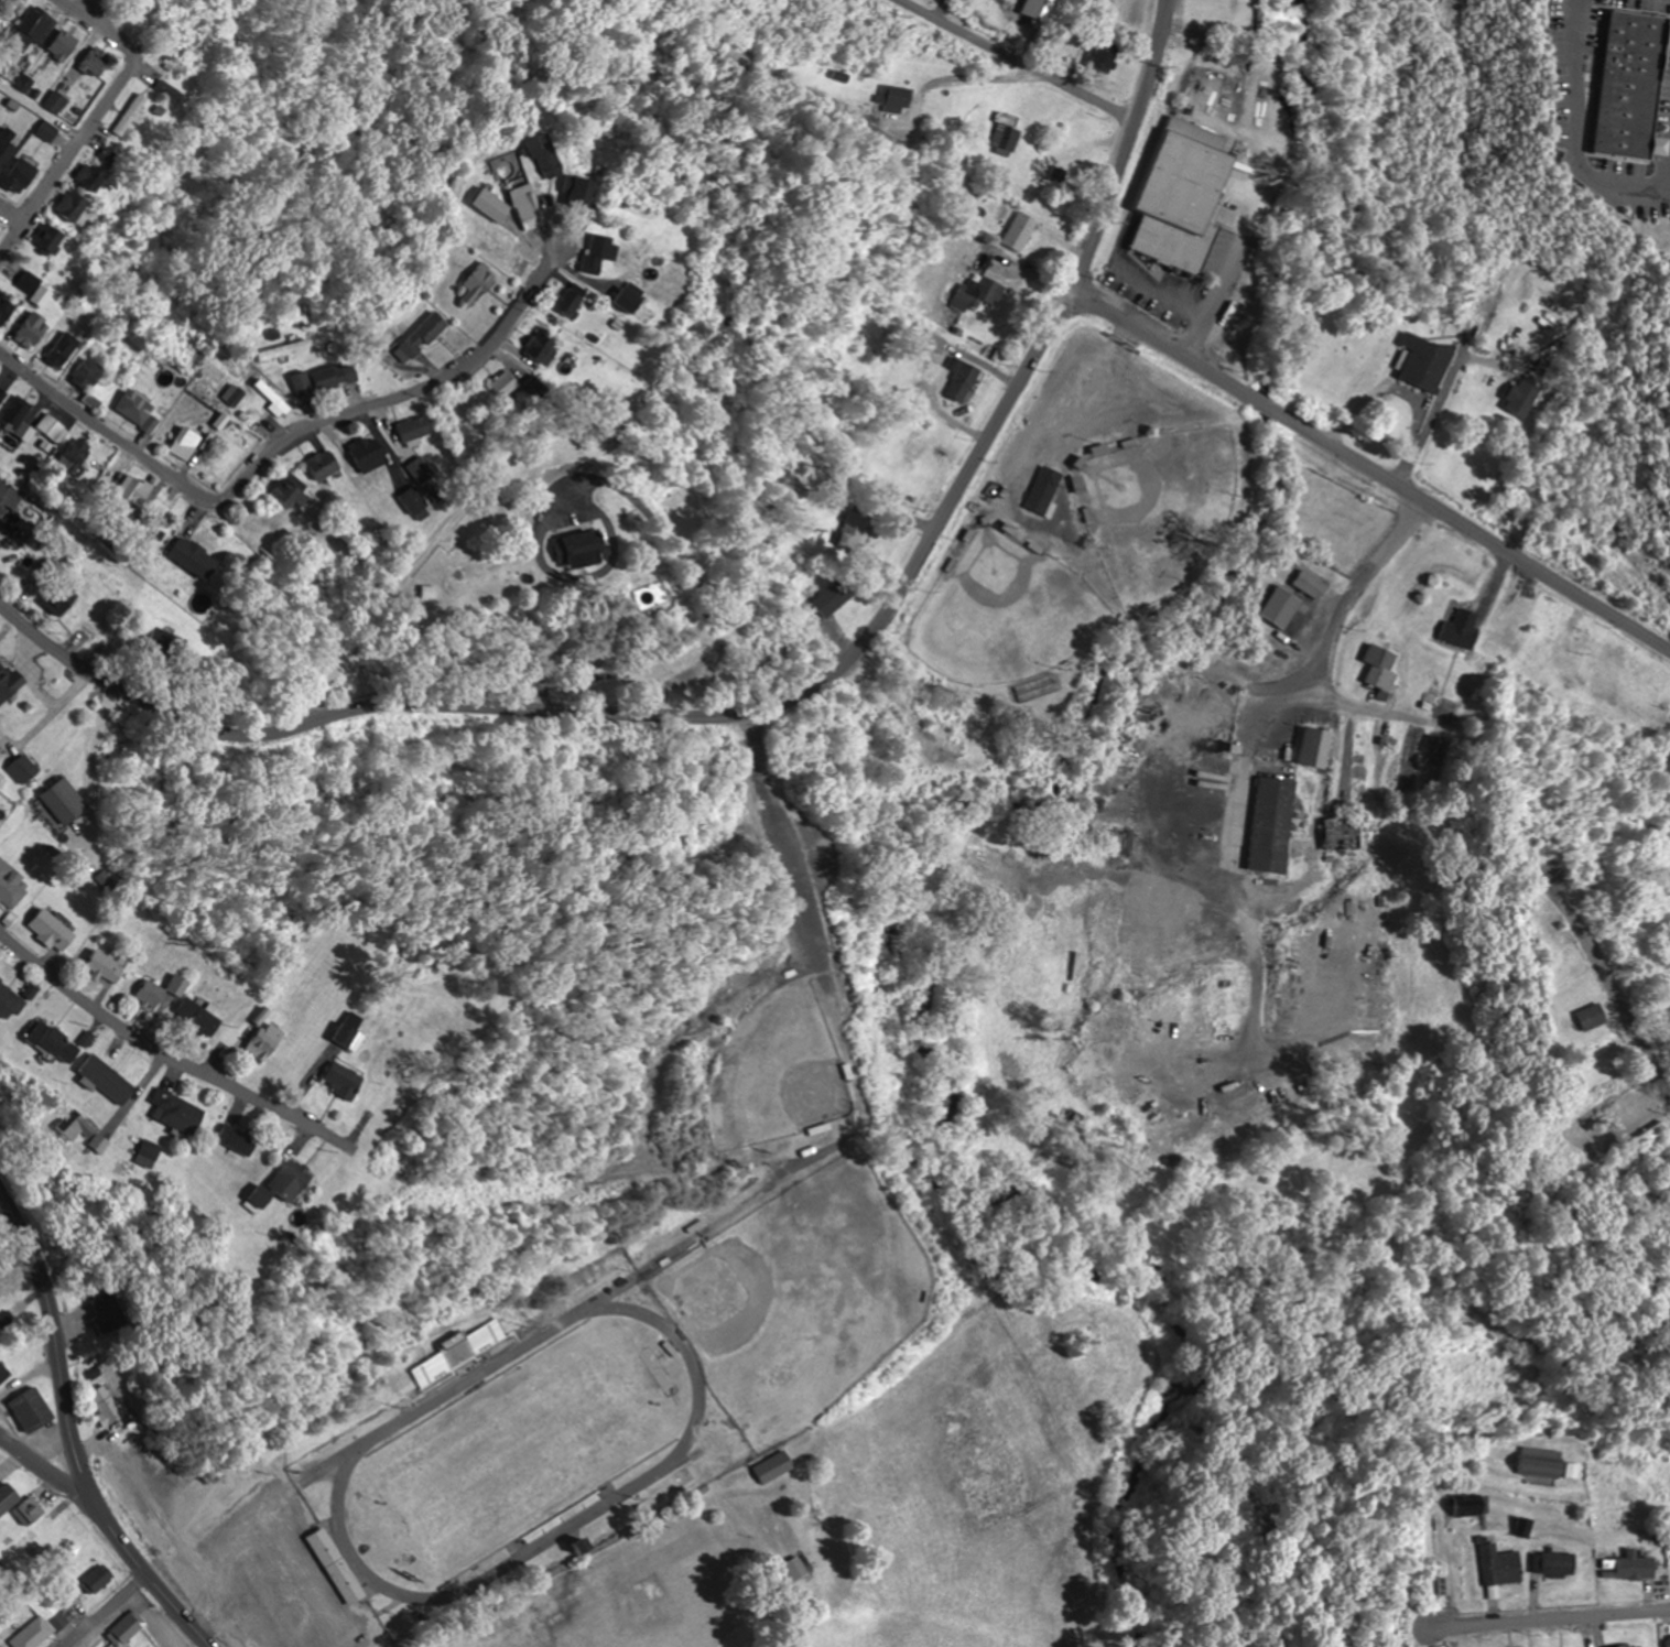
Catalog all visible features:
building: (1042, 10)
road: (83, 15)
building: (29, 29)
building: (63, 45)
building: (95, 61)
road: (1015, 61)
road: (1466, 71)
building: (1630, 85)
building: (55, 101)
building: (128, 113)
road: (1453, 113)
road: (83, 134)
building: (6, 149)
road: (1121, 149)
road: (1444, 152)
building: (545, 155)
building: (94, 173)
building: (17, 180)
building: (582, 192)
building: (1182, 199)
building: (72, 205)
building: (491, 205)
building: (525, 206)
road: (1449, 206)
road: (10, 216)
building: (1019, 230)
building: (50, 237)
building: (599, 251)
road: (1460, 258)
building: (479, 280)
building: (33, 288)
building: (980, 290)
building: (573, 302)
building: (630, 302)
building: (6, 307)
building: (30, 329)
building: (416, 338)
building: (541, 348)
building: (62, 349)
building: (279, 350)
building: (1423, 361)
building: (87, 373)
building: (334, 376)
building: (961, 381)
building: (503, 384)
building: (302, 386)
road: (1444, 386)
building: (1, 394)
building: (269, 398)
building: (1520, 398)
building: (91, 401)
building: (135, 410)
building: (15, 413)
building: (51, 426)
building: (413, 429)
road: (283, 437)
building: (368, 452)
building: (323, 465)
building: (420, 469)
road: (1370, 469)
building: (1043, 490)
building: (133, 494)
building: (414, 501)
building: (502, 509)
building: (579, 549)
building: (193, 556)
road: (693, 571)
road: (567, 575)
building: (1309, 584)
building: (57, 603)
building: (1280, 606)
building: (1460, 629)
building: (1379, 668)
building: (4, 686)
road: (625, 714)
building: (1433, 745)
building: (1314, 747)
building: (20, 772)
building: (64, 802)
building: (1271, 825)
building: (1342, 834)
building: (11, 884)
building: (52, 930)
building: (104, 966)
building: (161, 990)
road: (1613, 997)
building: (10, 1003)
building: (198, 1017)
building: (1590, 1017)
building: (349, 1030)
building: (52, 1039)
building: (262, 1039)
road: (159, 1051)
building: (108, 1080)
building: (343, 1081)
building: (176, 1112)
building: (1642, 1137)
building: (238, 1138)
building: (149, 1153)
building: (293, 1180)
building: (263, 1198)
building: (106, 1313)
building: (462, 1350)
building: (3, 1373)
building: (33, 1410)
road: (71, 1435)
building: (1546, 1465)
building: (773, 1466)
road: (45, 1469)
building: (9, 1498)
building: (1470, 1507)
building: (1521, 1528)
building: (1555, 1563)
building: (338, 1565)
building: (1498, 1567)
building: (1631, 1567)
building: (97, 1579)
road: (104, 1610)
road: (1557, 1618)
building: (126, 1630)
building: (1667, 1639)
building: (1629, 1645)

